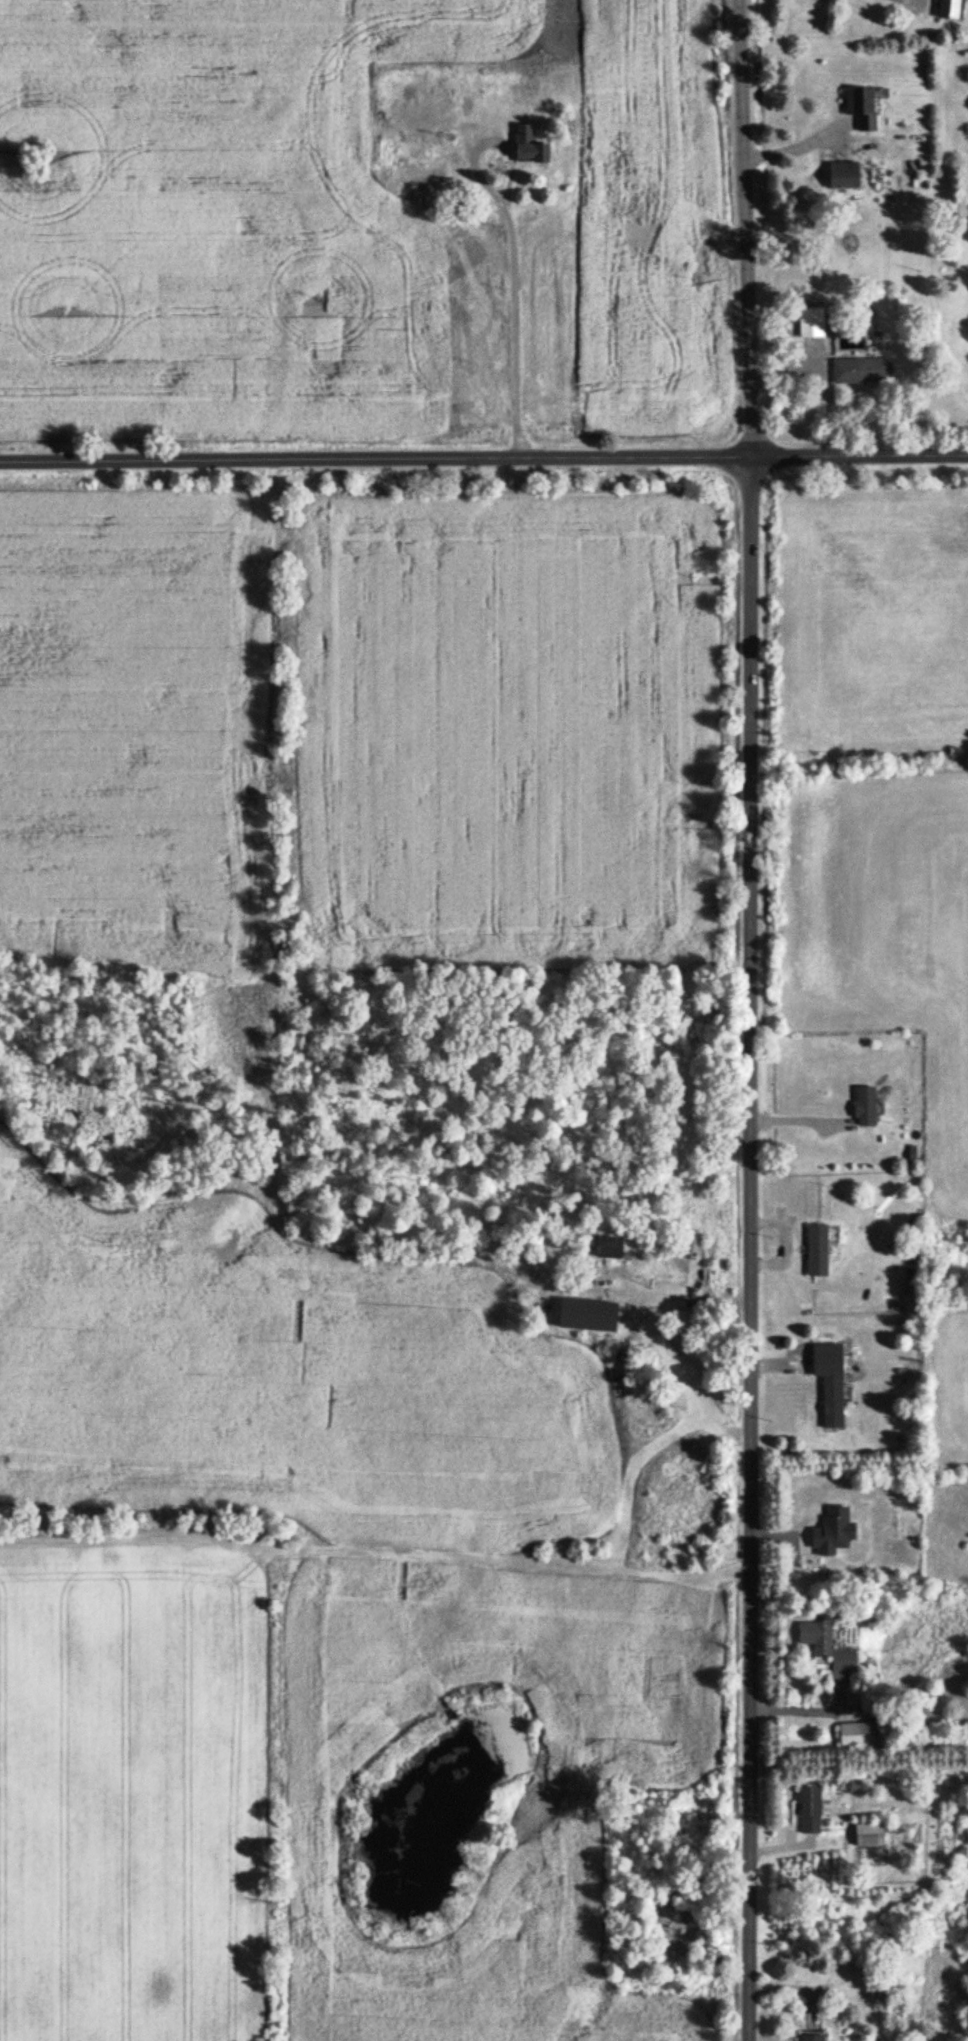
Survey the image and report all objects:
road: (904, 2)
building: (951, 10)
building: (863, 108)
building: (531, 138)
road: (801, 147)
building: (387, 154)
building: (845, 176)
crop: (221, 217)
crop: (664, 226)
road: (513, 293)
building: (812, 323)
building: (863, 371)
road: (828, 378)
road: (484, 465)
crop: (138, 734)
crop: (514, 735)
road: (757, 1020)
building: (867, 1106)
building: (613, 1248)
building: (818, 1252)
building: (590, 1315)
crop: (286, 1375)
building: (834, 1402)
building: (829, 1647)
road: (817, 1709)
building: (856, 1736)
crop: (323, 1795)
crop: (129, 1796)
building: (811, 1811)
building: (870, 1835)
building: (893, 1991)
building: (813, 2037)

